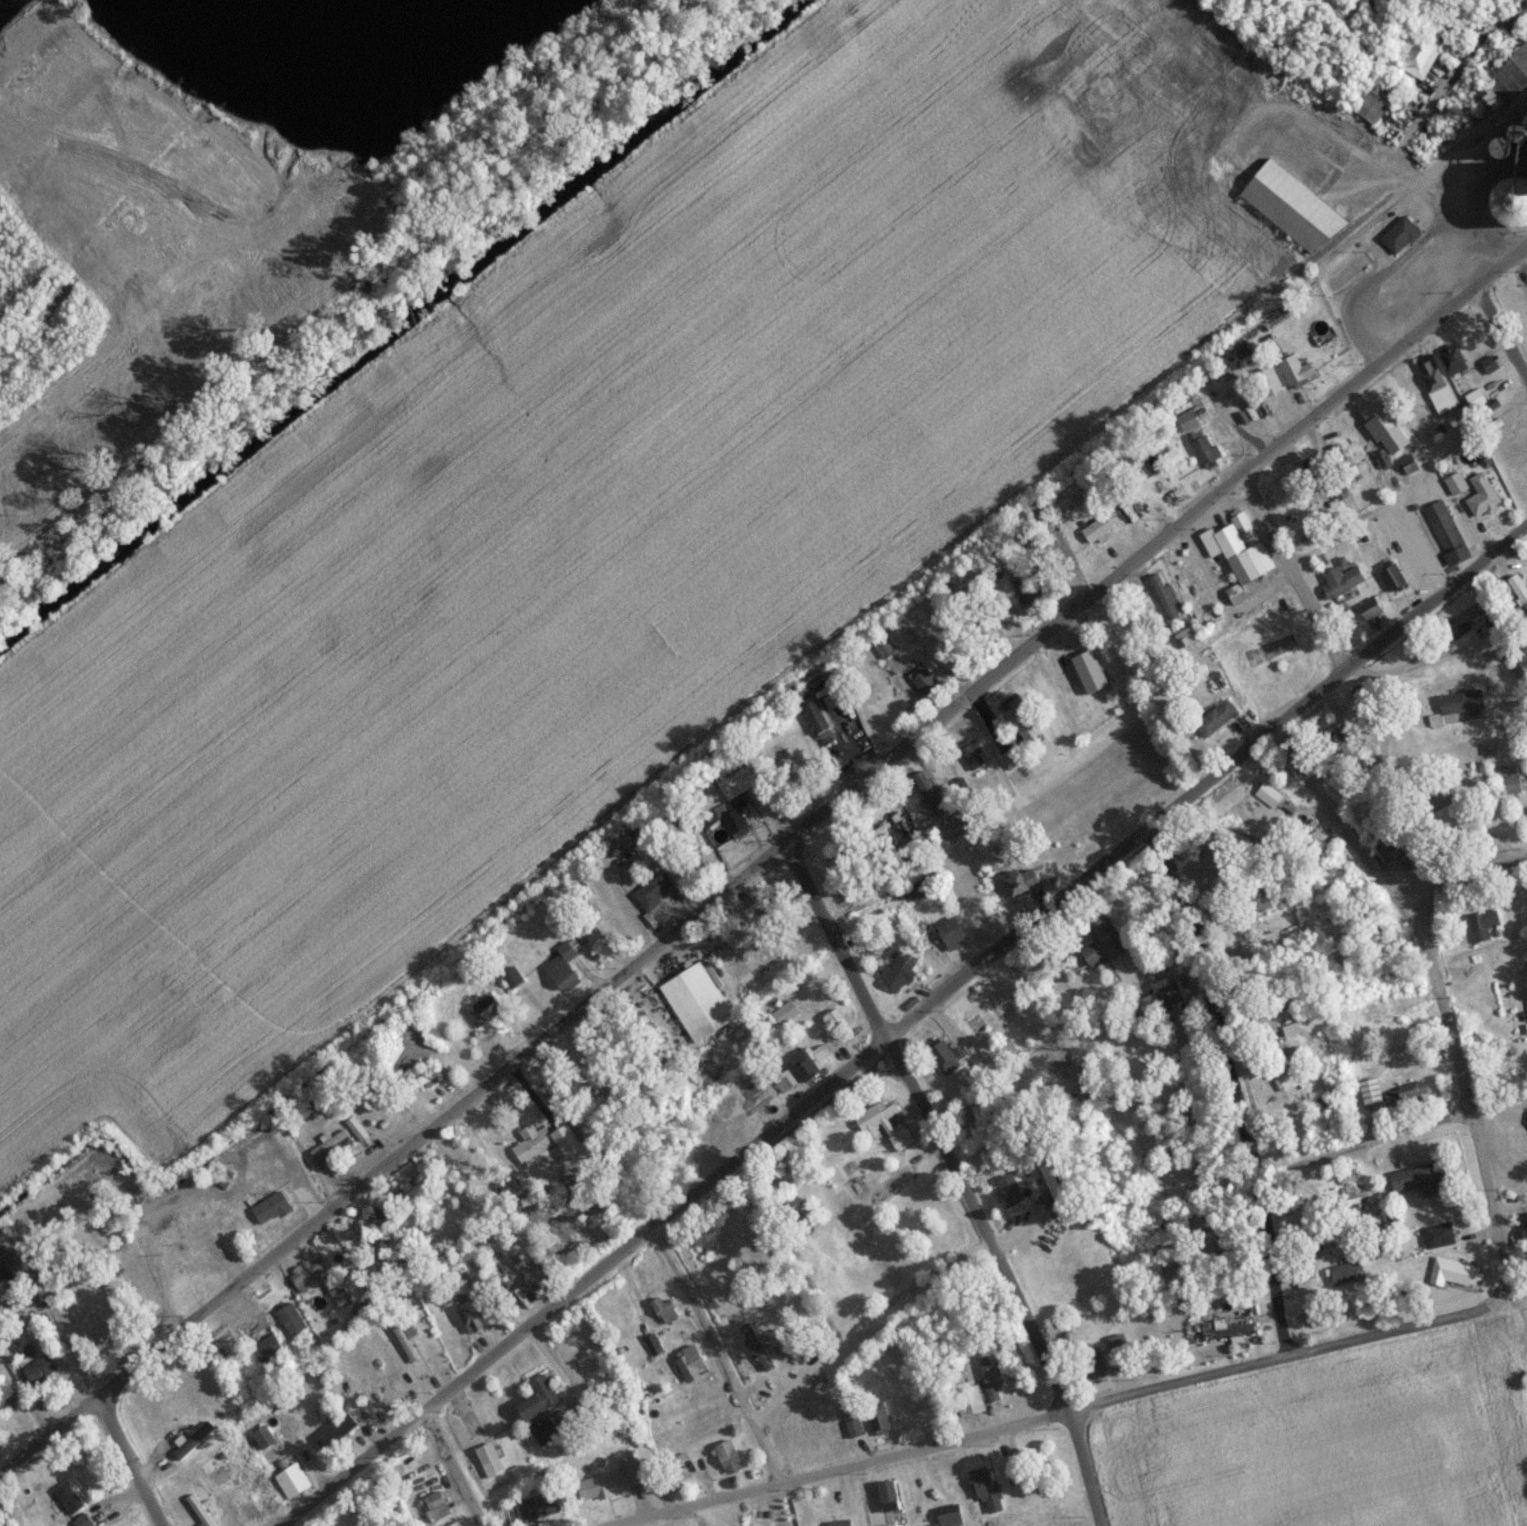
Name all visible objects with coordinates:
quarry: (336, 64)
road: (1501, 341)
road: (1411, 483)
crop: (589, 530)
road: (1415, 551)
road: (1345, 666)
road: (768, 869)
road: (1466, 876)
road: (1438, 1001)
road: (906, 1029)
road: (1233, 1086)
road: (1361, 1150)
road: (940, 1152)
road: (865, 1328)
road: (720, 1357)
road: (392, 1358)
road: (88, 1384)
road: (1057, 1419)
crop: (1331, 1443)

